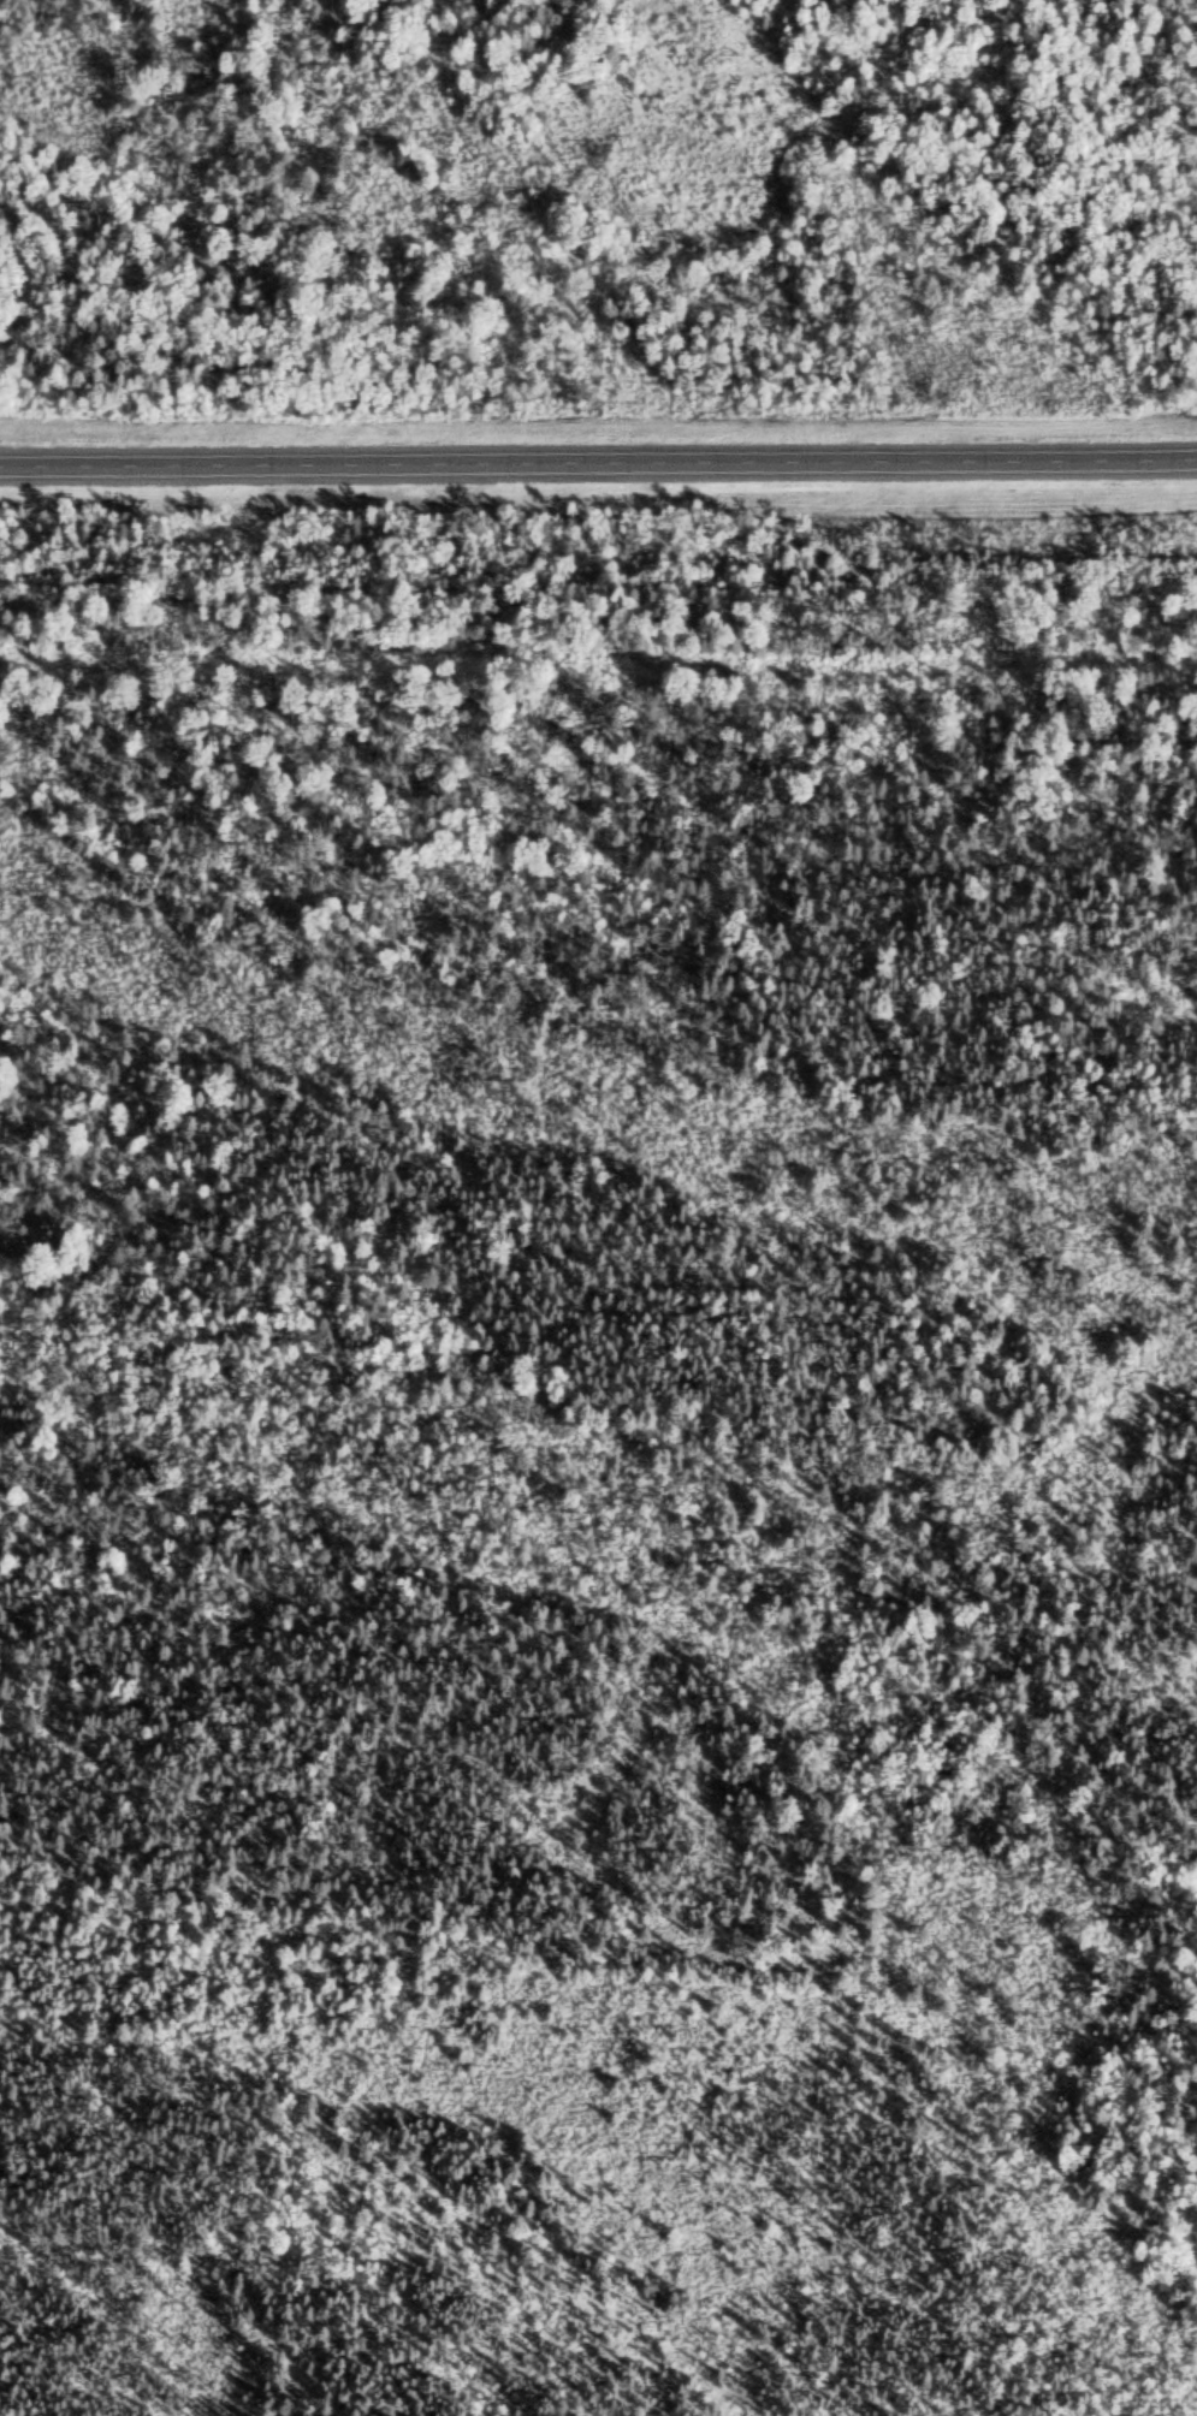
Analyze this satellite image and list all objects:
road: (598, 458)

